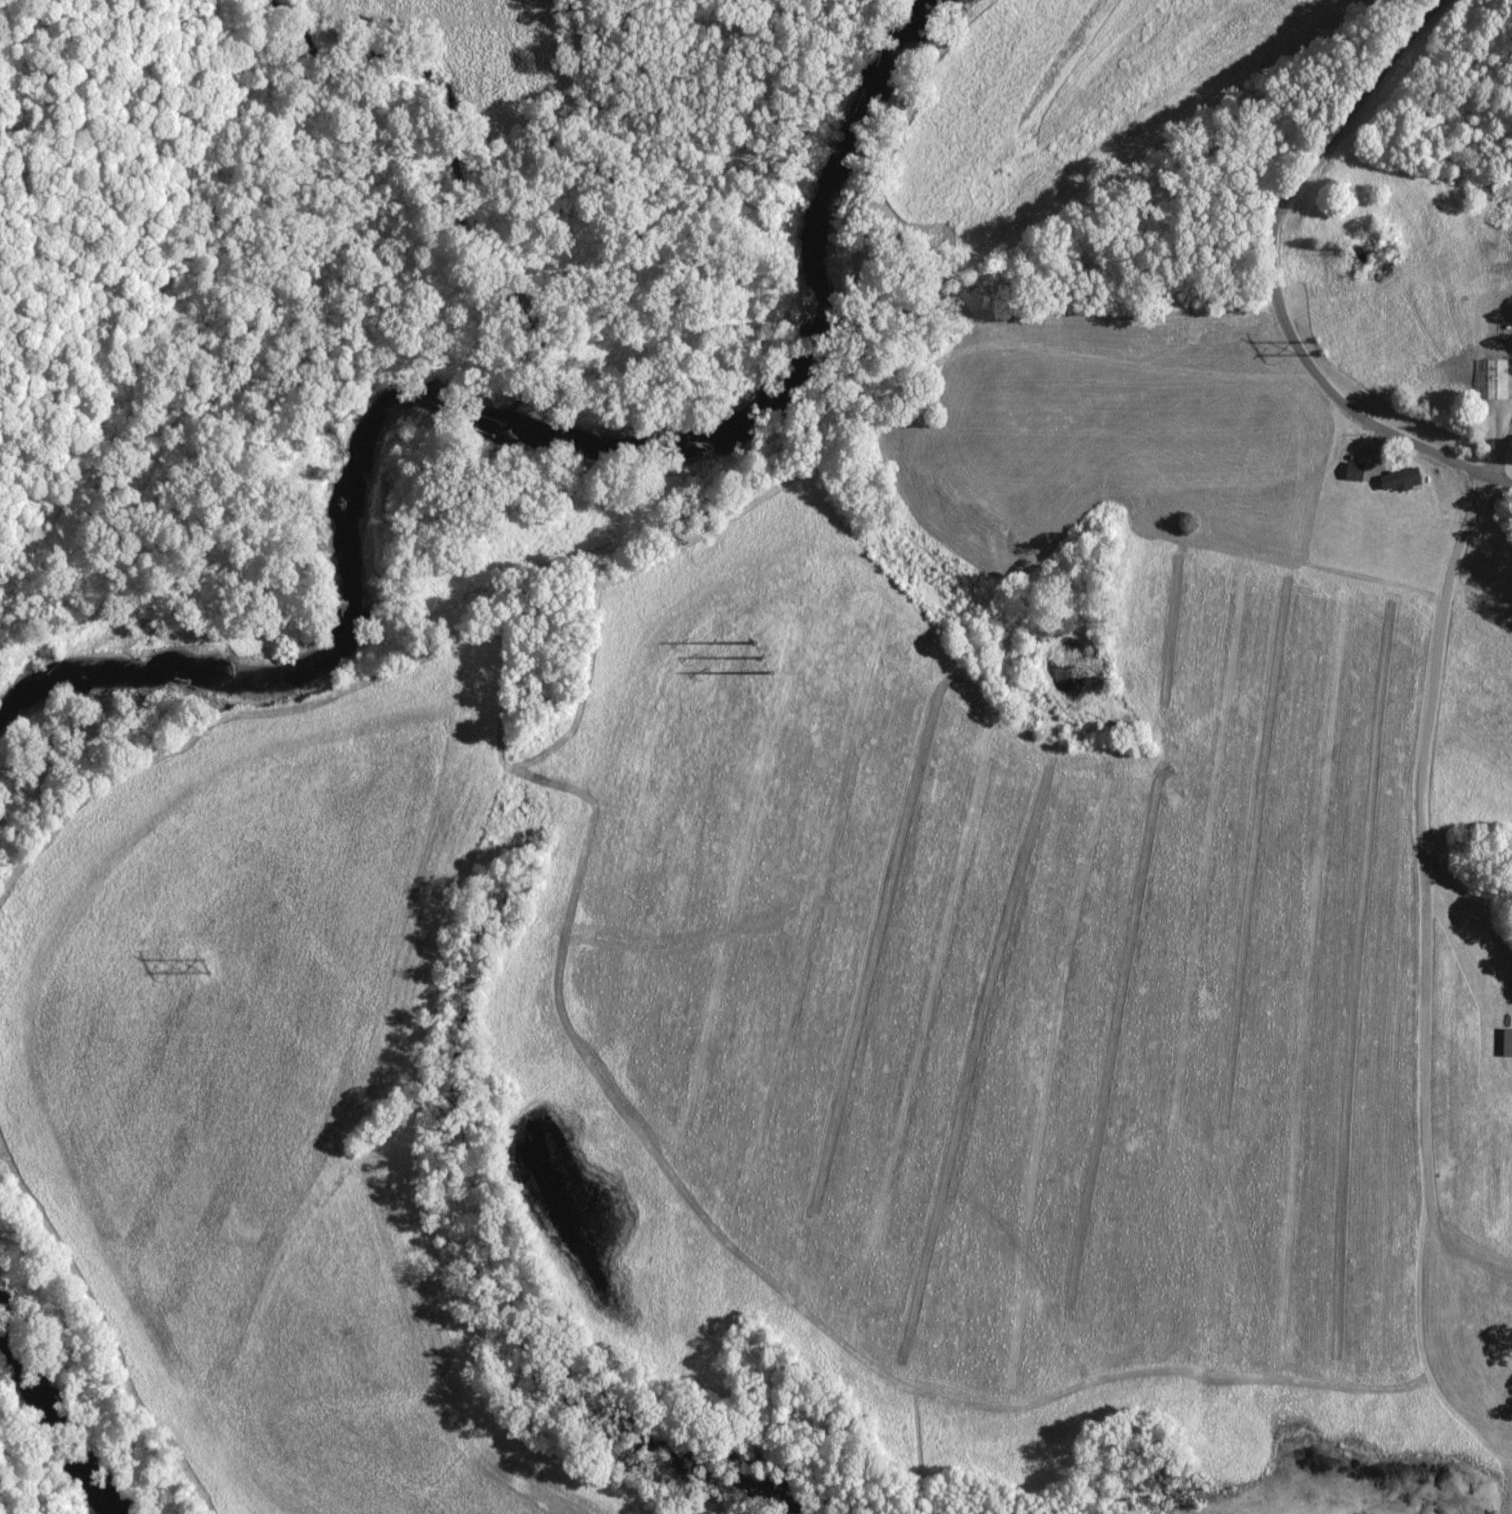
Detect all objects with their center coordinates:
road: (1293, 267)
power tower: (1316, 350)
building: (1496, 377)
building: (1351, 471)
building: (1393, 480)
power tower: (788, 642)
power tower: (205, 966)
building: (1504, 1295)

